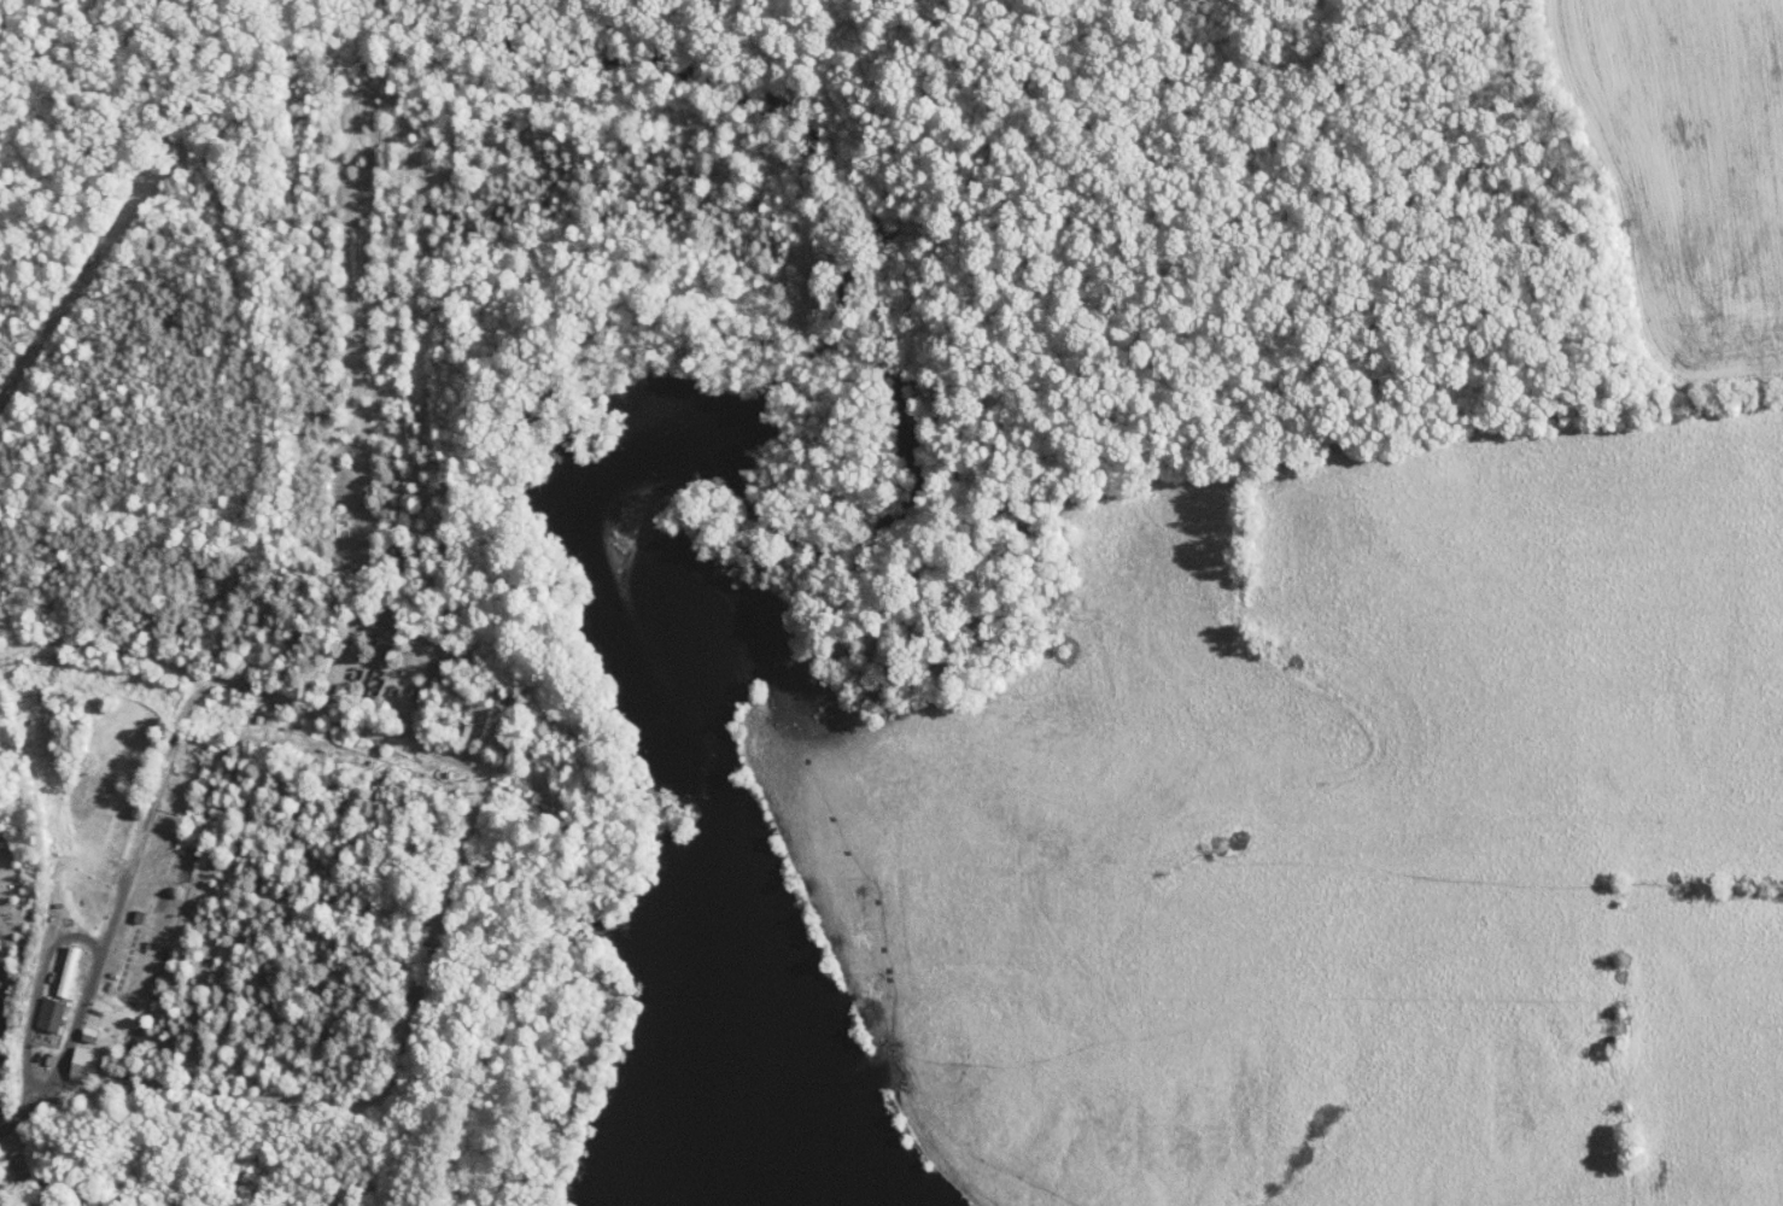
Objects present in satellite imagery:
road: (81, 935)
building: (53, 964)
road: (2, 1002)
building: (35, 1007)
building: (74, 1026)
building: (68, 1056)
road: (14, 1120)

